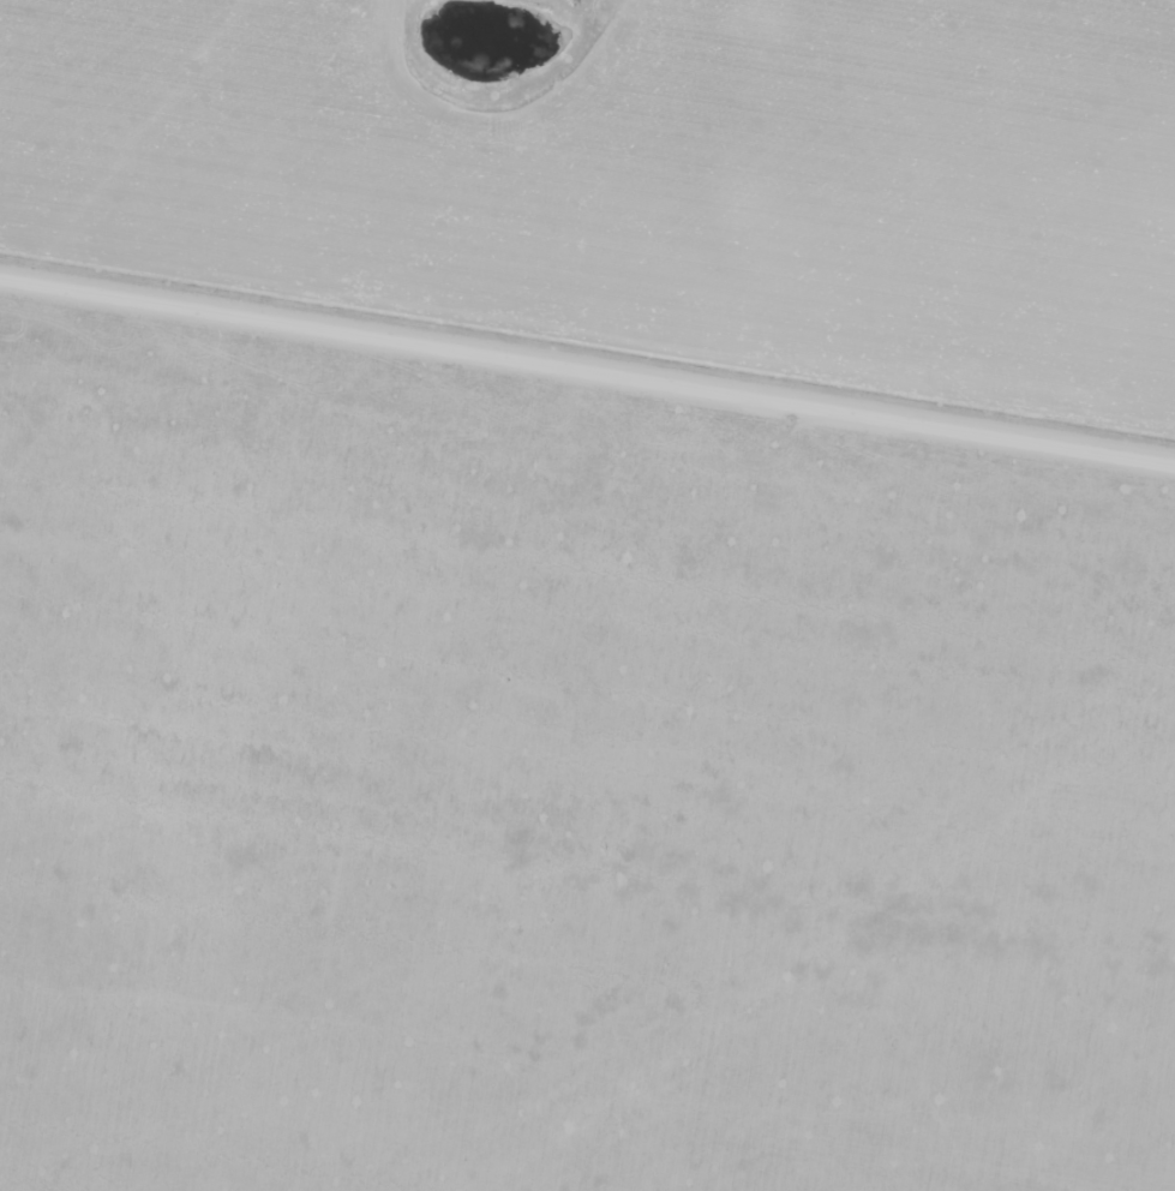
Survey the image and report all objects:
road: (587, 359)

